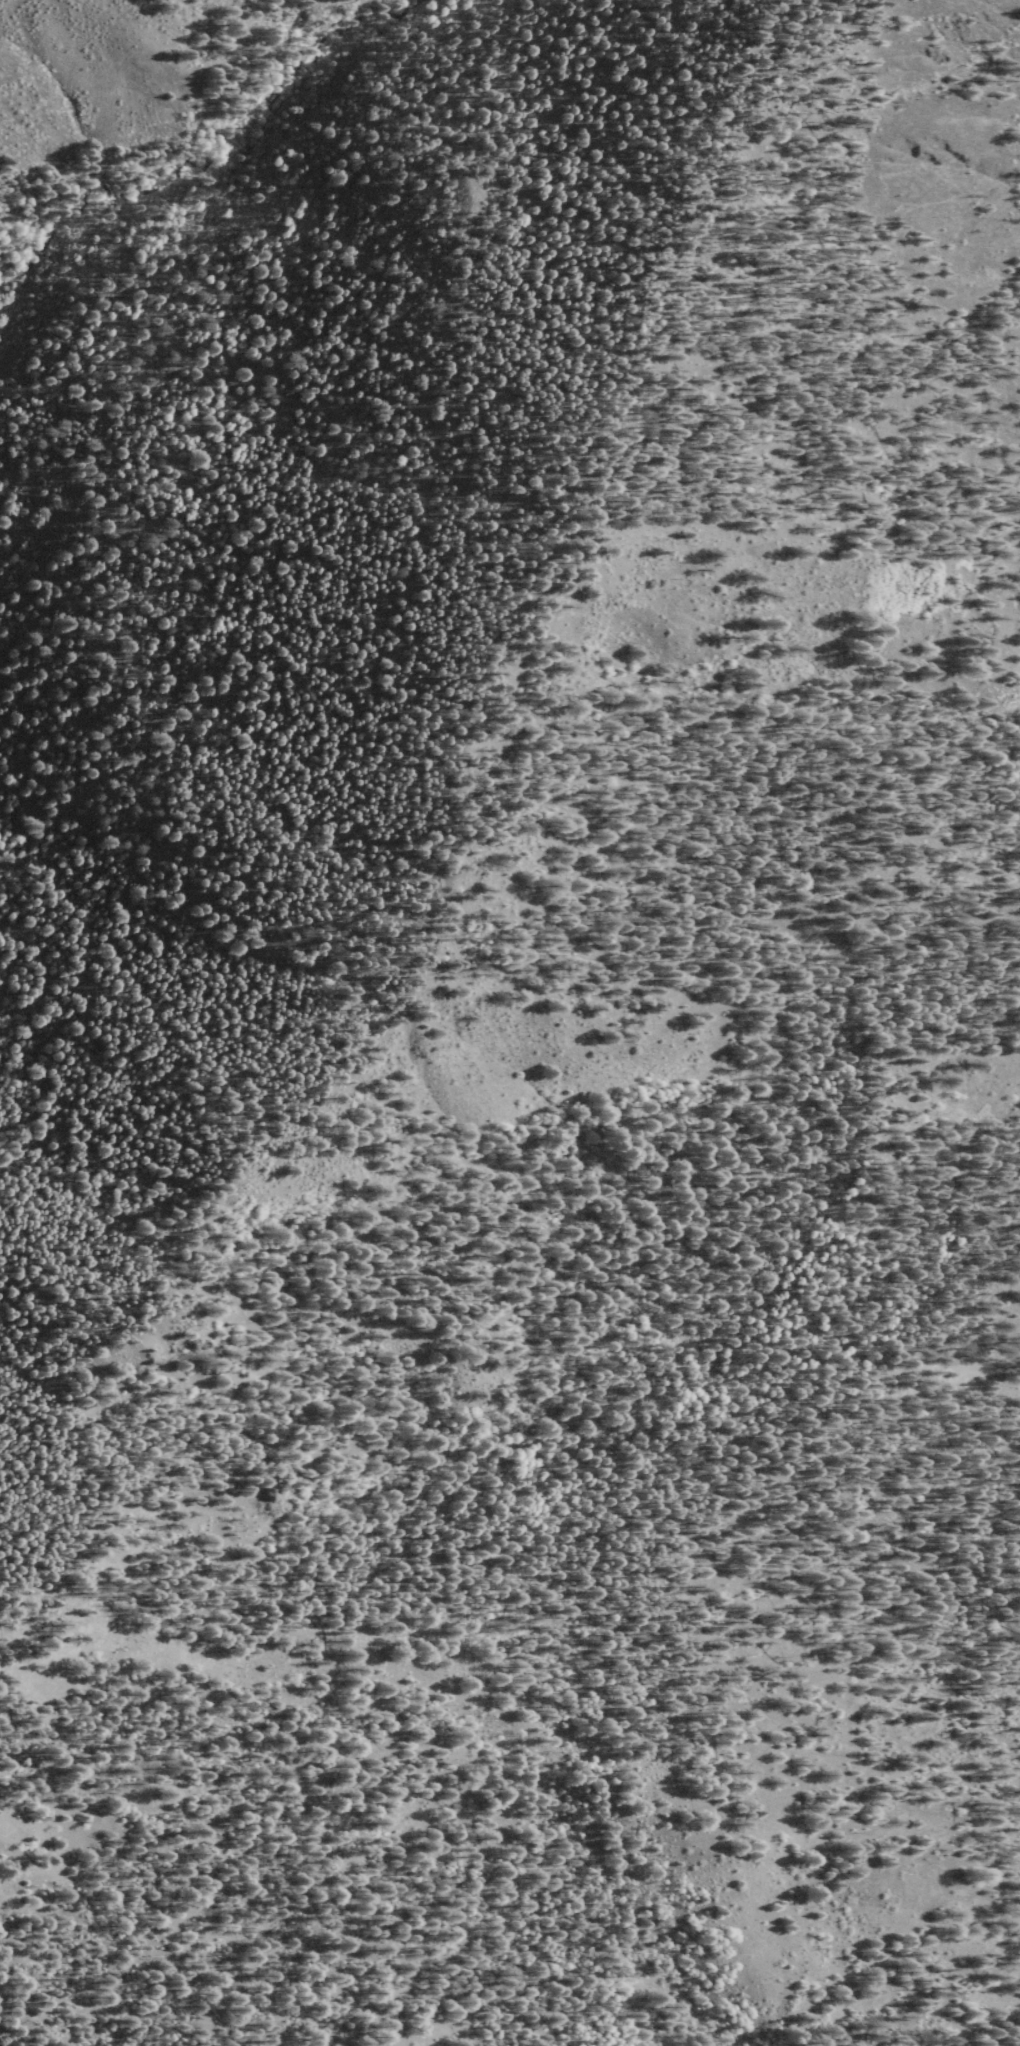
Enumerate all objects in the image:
road: (189, 150)

